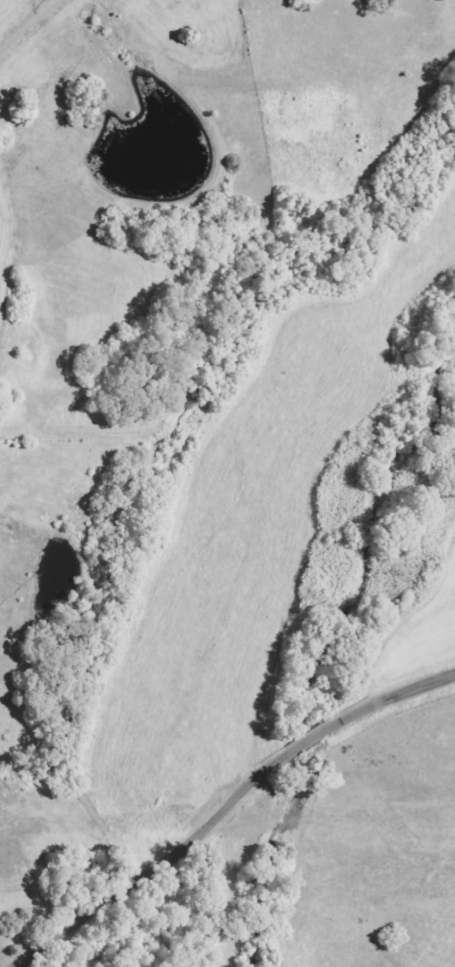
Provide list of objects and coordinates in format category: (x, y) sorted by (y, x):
road: (232, 806)

